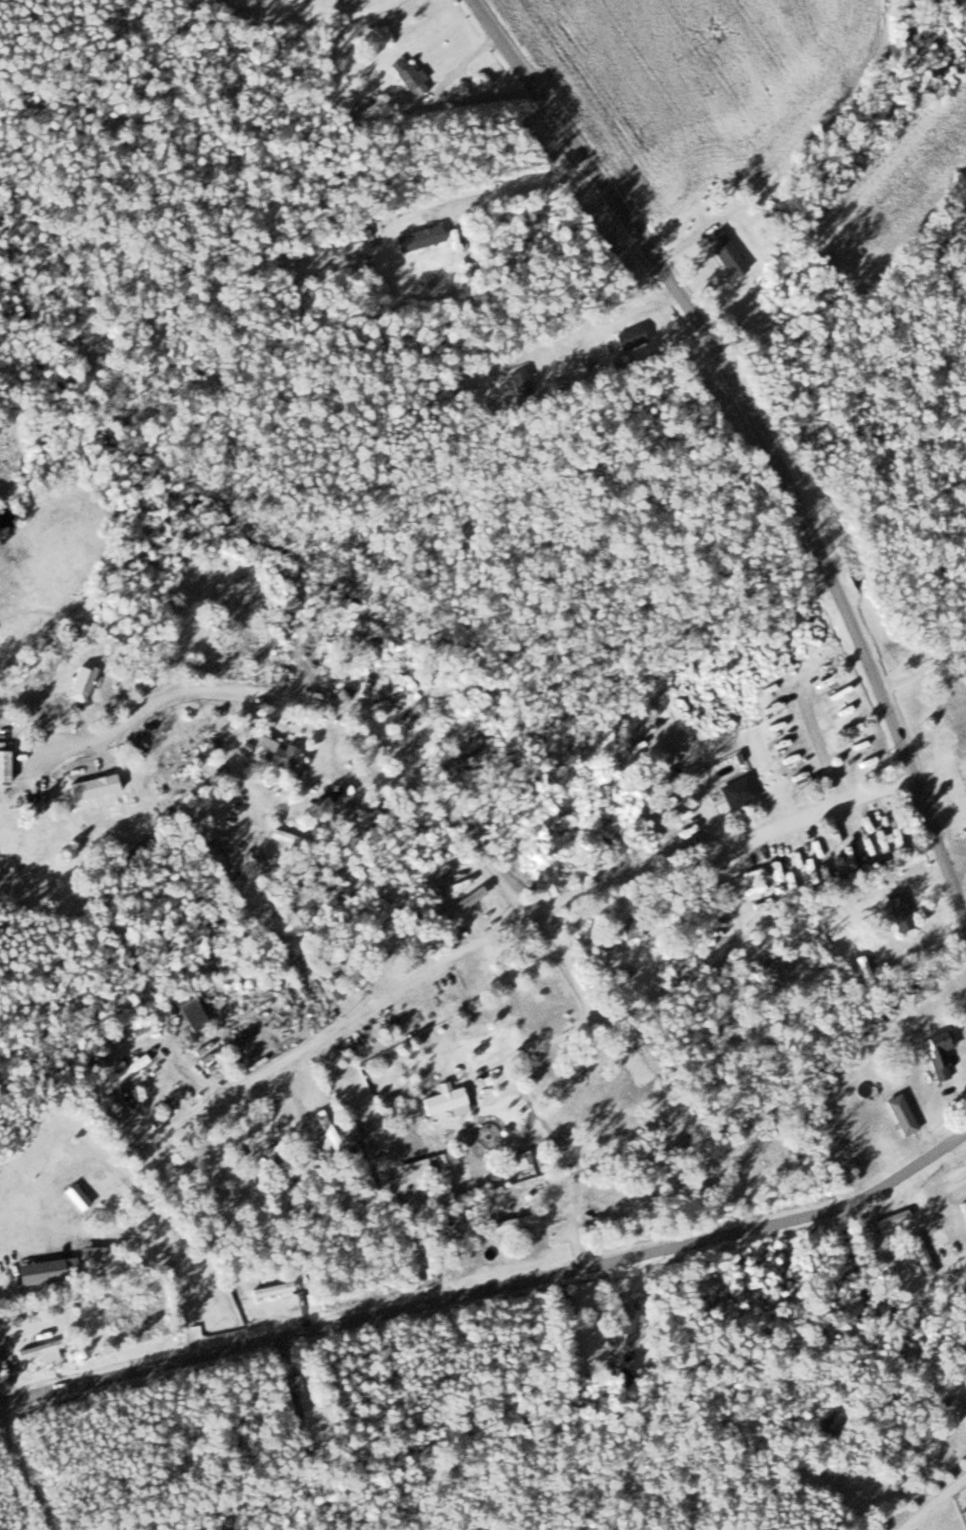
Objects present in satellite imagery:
building: (408, 77)
building: (417, 238)
building: (724, 253)
road: (764, 432)
building: (80, 683)
road: (301, 696)
road: (822, 746)
building: (284, 758)
building: (3, 766)
road: (696, 790)
building: (736, 791)
building: (879, 836)
building: (603, 844)
road: (955, 856)
building: (465, 901)
road: (557, 905)
building: (898, 911)
building: (634, 929)
building: (399, 948)
building: (797, 966)
building: (863, 971)
building: (191, 1015)
building: (938, 1051)
building: (131, 1065)
building: (441, 1100)
building: (120, 1102)
building: (900, 1115)
building: (266, 1147)
building: (735, 1153)
building: (444, 1159)
building: (75, 1197)
building: (963, 1208)
building: (887, 1220)
building: (513, 1221)
building: (921, 1256)
building: (61, 1271)
road: (495, 1282)
building: (273, 1291)
building: (631, 1321)
building: (41, 1345)
building: (295, 1397)
road: (932, 1505)

